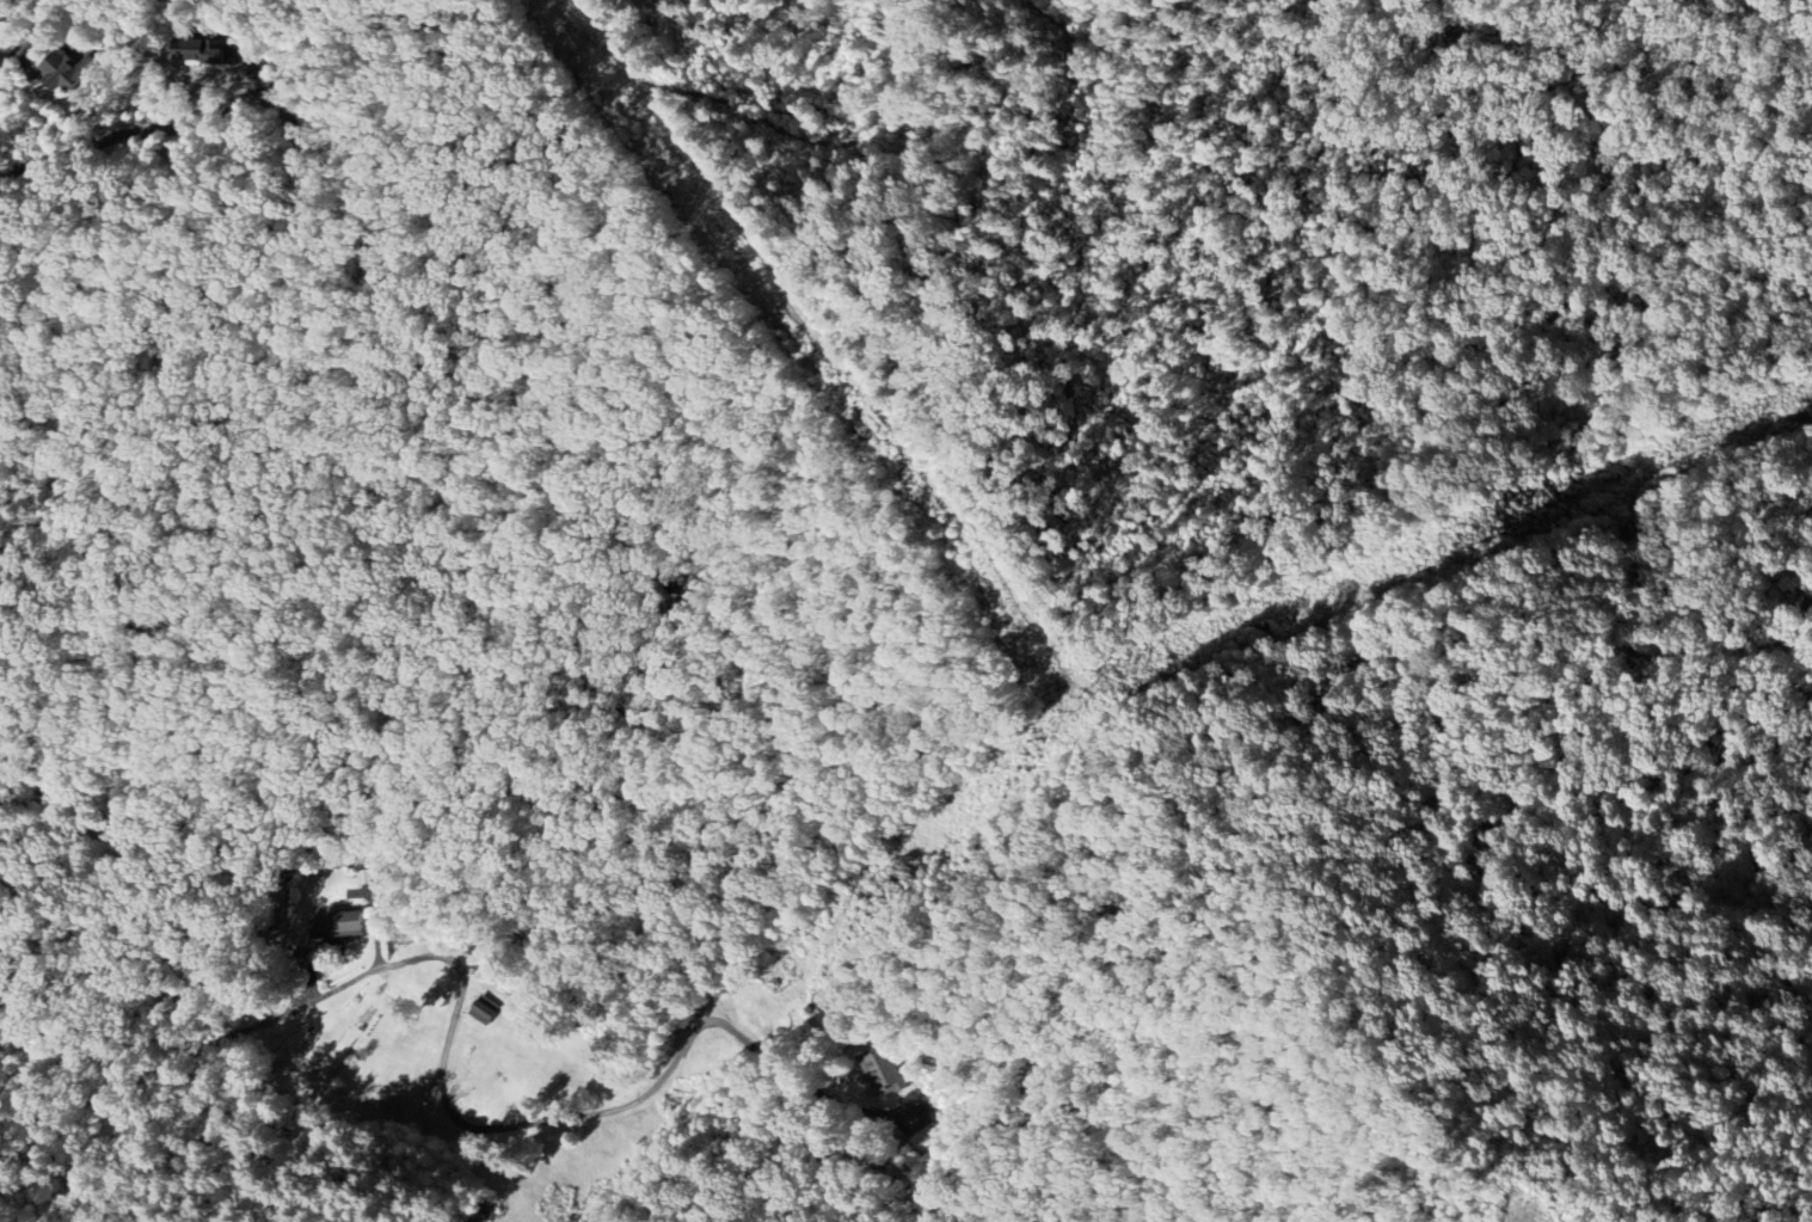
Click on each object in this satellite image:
road: (26, 45)
building: (201, 51)
building: (67, 72)
road: (130, 124)
power tower: (1083, 702)
building: (337, 922)
road: (443, 1051)
building: (885, 1075)
power tower: (572, 1181)
road: (1521, 1220)

